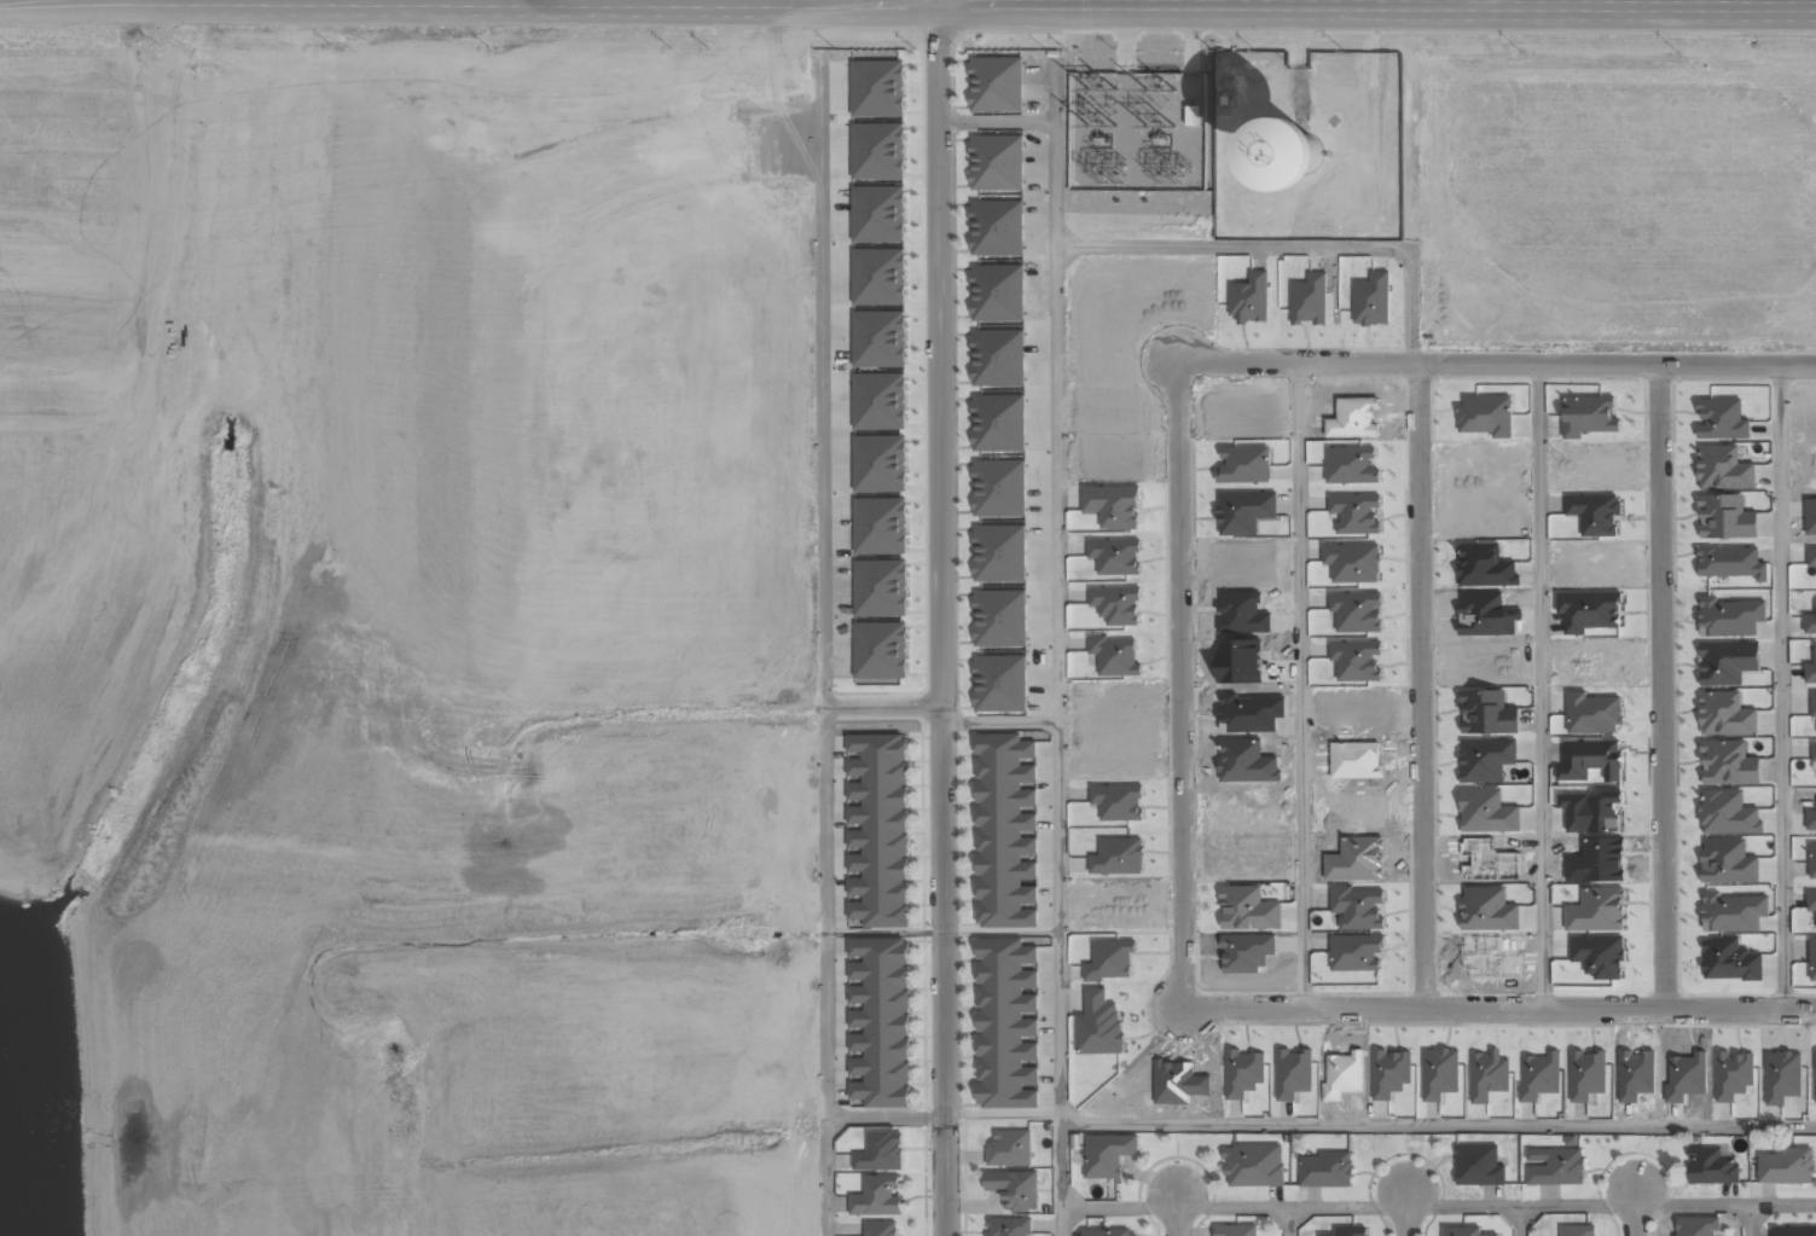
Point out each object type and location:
road: (907, 17)
building: (996, 85)
building: (877, 88)
road: (996, 117)
power substation: (1137, 130)
building: (877, 151)
water tower: (1306, 151)
building: (1300, 152)
building: (997, 162)
building: (878, 214)
building: (997, 227)
road: (1287, 244)
building: (878, 275)
building: (998, 297)
building: (878, 338)
building: (997, 359)
road: (1496, 360)
building: (880, 400)
building: (998, 424)
road: (822, 433)
building: (880, 463)
building: (1724, 468)
building: (998, 489)
building: (1725, 516)
building: (880, 526)
building: (998, 555)
building: (881, 587)
road: (940, 617)
building: (998, 619)
road: (1057, 646)
building: (881, 650)
building: (1728, 662)
road: (1179, 683)
road: (1301, 684)
road: (1421, 684)
building: (998, 685)
road: (1542, 685)
road: (1661, 685)
road: (1781, 686)
building: (1487, 713)
building: (1725, 714)
building: (1486, 759)
building: (1590, 761)
building: (1729, 762)
building: (1728, 812)
building: (876, 830)
building: (1005, 831)
building: (1728, 861)
road: (826, 866)
building: (1248, 909)
building: (1489, 909)
building: (1733, 911)
road: (1498, 1009)
building: (878, 1023)
building: (1006, 1025)
road: (1003, 1109)
road: (886, 1119)
road: (1438, 1122)
building: (1009, 1149)
building: (880, 1151)
building: (1107, 1155)
building: (1478, 1165)
building: (1253, 1166)
building: (1556, 1166)
building: (1787, 1166)
building: (1711, 1167)
building: (1324, 1168)
building: (1013, 1190)
building: (877, 1196)
road: (1438, 1206)
road: (1636, 1211)
road: (1406, 1213)
road: (1178, 1215)
road: (1520, 1220)
road: (1751, 1220)
road: (1290, 1222)
building: (1695, 1226)
building: (881, 1228)
building: (1009, 1228)
building: (1236, 1231)
building: (1347, 1231)
building: (1463, 1231)
building: (1577, 1231)
building: (1793, 1231)
building: (1108, 1232)

